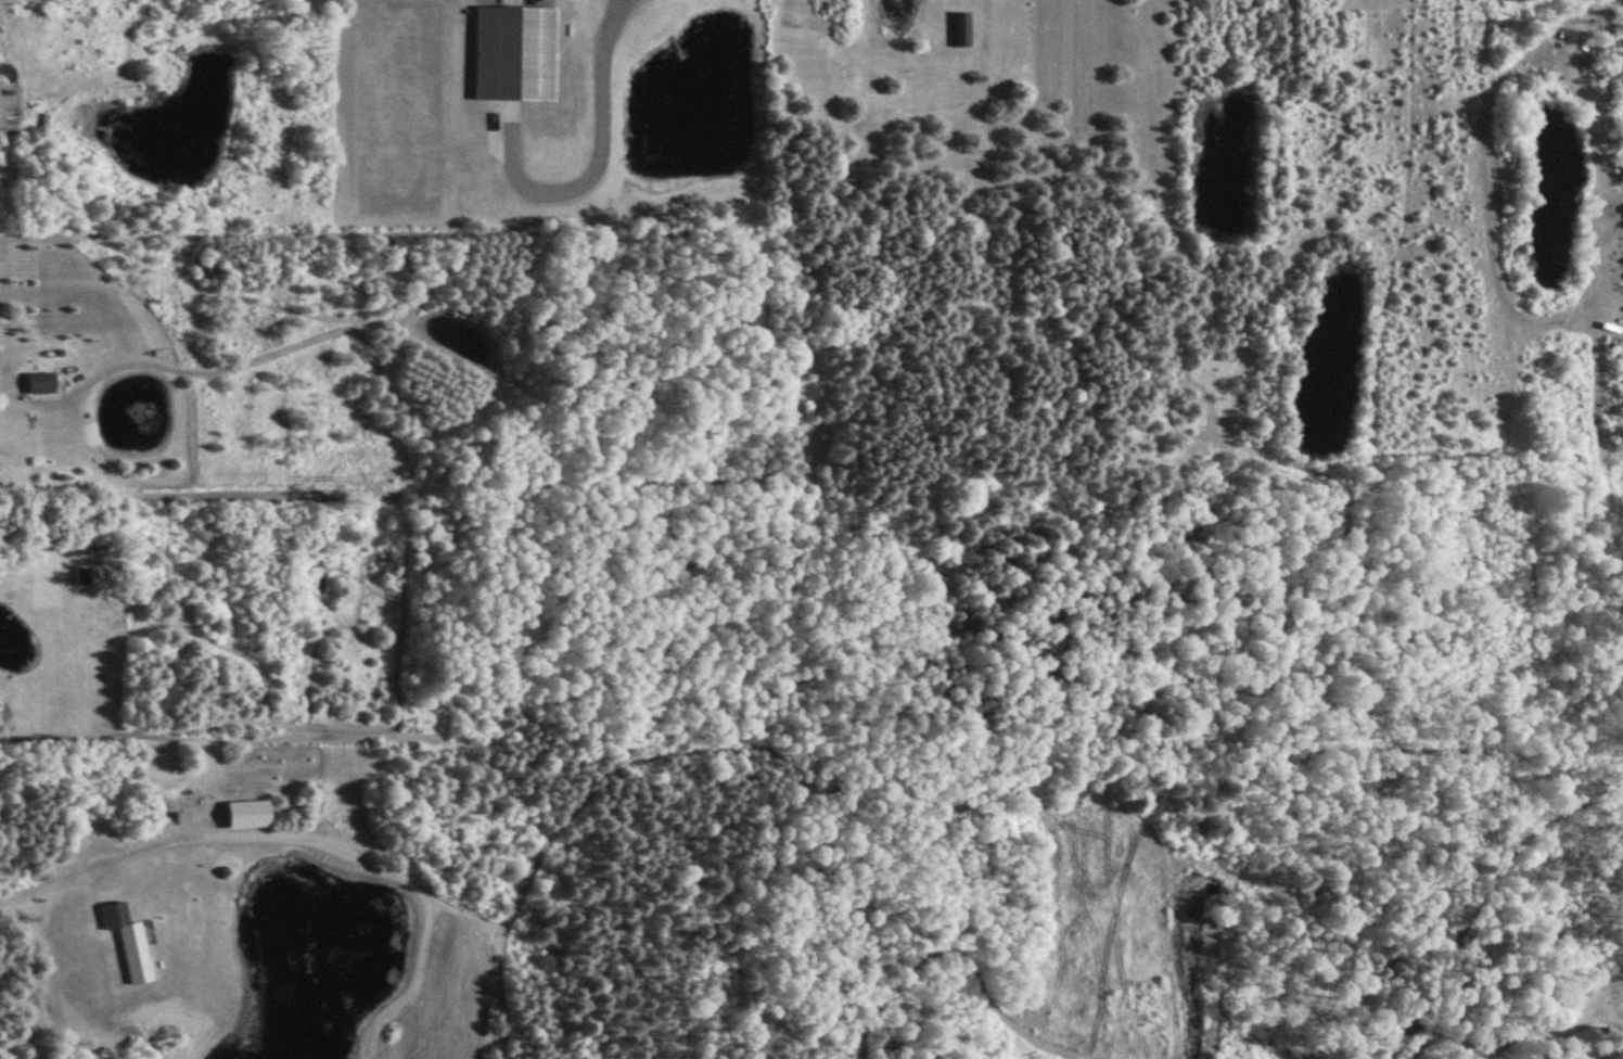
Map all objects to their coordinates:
road: (1600, 7)
building: (966, 29)
building: (516, 53)
road: (1532, 319)
building: (43, 383)
building: (243, 815)
building: (130, 941)

